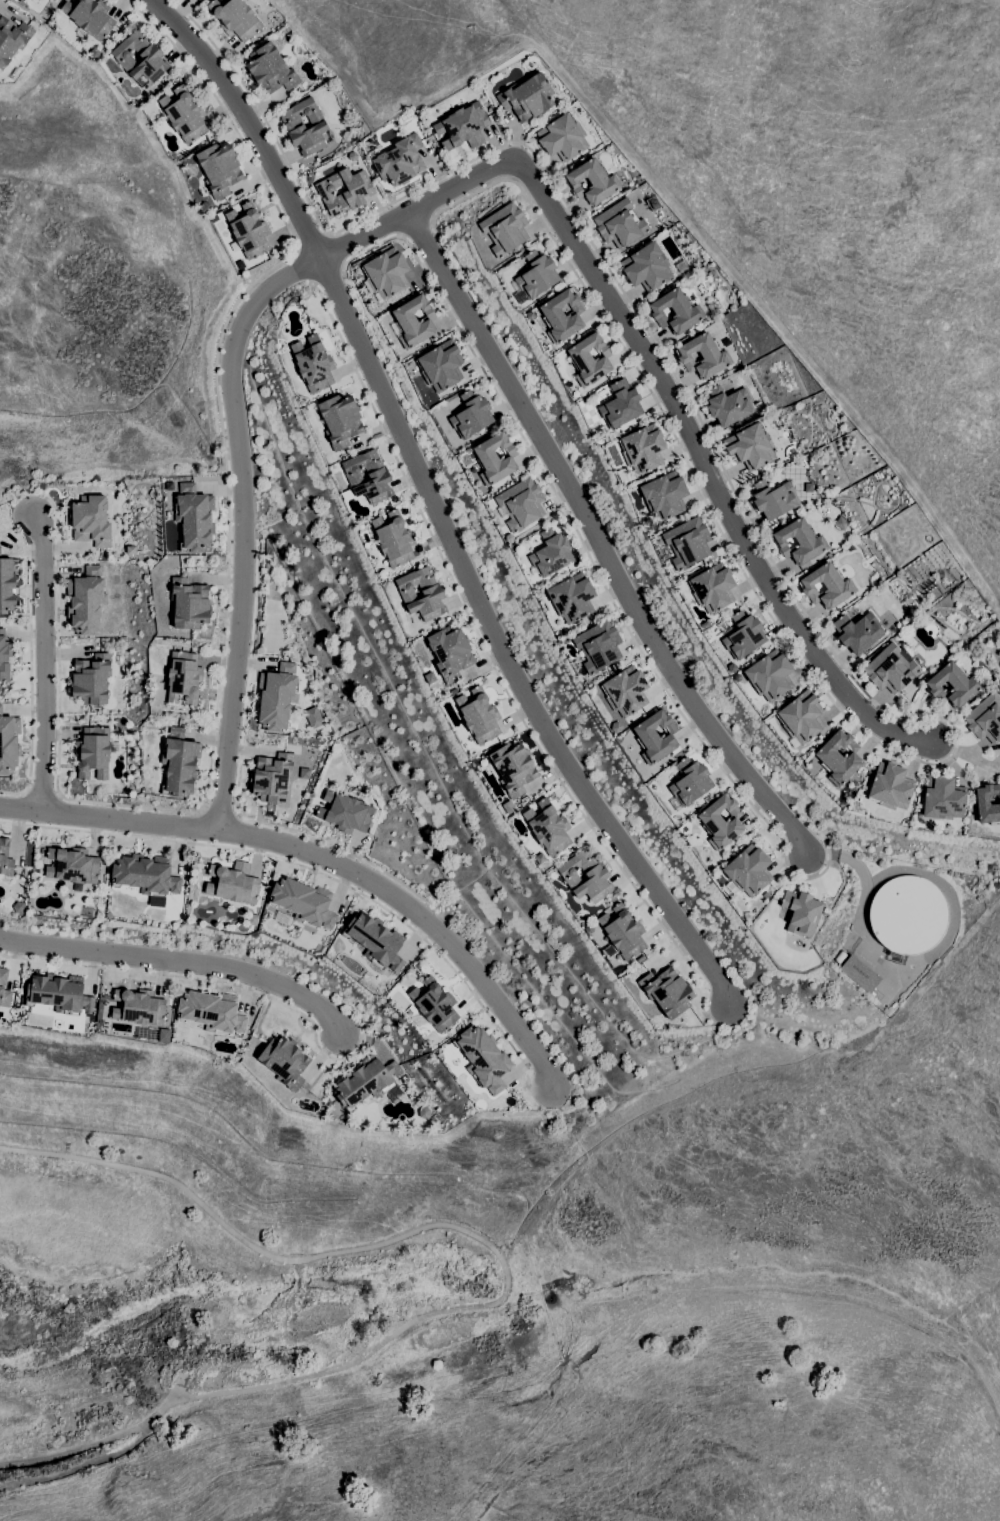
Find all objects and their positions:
building: (19, 0)
building: (90, 17)
building: (235, 18)
building: (12, 39)
building: (149, 56)
building: (270, 69)
building: (527, 97)
building: (184, 115)
road: (249, 119)
building: (463, 126)
building: (294, 127)
building: (562, 137)
building: (400, 161)
building: (219, 169)
building: (591, 181)
building: (357, 193)
building: (214, 218)
building: (620, 224)
building: (504, 229)
building: (248, 231)
road: (309, 239)
road: (337, 248)
road: (304, 266)
building: (646, 267)
building: (386, 273)
road: (328, 274)
building: (536, 275)
building: (675, 311)
building: (530, 315)
building: (561, 315)
building: (412, 322)
building: (703, 356)
building: (589, 359)
building: (313, 364)
building: (440, 366)
building: (620, 405)
building: (728, 405)
road: (233, 413)
building: (471, 415)
building: (340, 420)
building: (750, 446)
building: (642, 449)
building: (494, 459)
road: (704, 468)
building: (623, 475)
building: (379, 477)
building: (664, 495)
building: (774, 499)
building: (521, 504)
building: (194, 518)
building: (91, 521)
building: (393, 539)
road: (598, 539)
building: (798, 541)
building: (687, 543)
road: (9, 546)
building: (551, 553)
road: (590, 558)
building: (383, 574)
building: (8, 584)
building: (826, 586)
road: (226, 588)
building: (712, 588)
building: (421, 594)
building: (571, 597)
building: (86, 601)
building: (189, 604)
road: (811, 624)
building: (704, 625)
building: (857, 632)
building: (743, 636)
road: (500, 645)
building: (598, 646)
road: (483, 647)
building: (450, 653)
building: (4, 657)
road: (45, 661)
building: (890, 669)
road: (30, 673)
building: (769, 675)
building: (429, 677)
building: (183, 678)
building: (91, 680)
building: (952, 684)
building: (453, 691)
building: (625, 691)
building: (277, 697)
building: (479, 716)
building: (311, 717)
building: (801, 717)
building: (985, 718)
building: (655, 736)
building: (8, 743)
building: (93, 752)
road: (965, 753)
building: (839, 757)
building: (179, 763)
building: (513, 768)
building: (272, 778)
road: (238, 782)
building: (690, 782)
building: (890, 786)
road: (11, 791)
building: (943, 798)
building: (987, 804)
road: (202, 811)
building: (345, 812)
road: (219, 815)
road: (237, 816)
road: (109, 817)
building: (721, 821)
building: (547, 827)
building: (5, 858)
building: (539, 858)
building: (72, 866)
road: (301, 866)
building: (748, 870)
building: (145, 875)
building: (596, 877)
building: (233, 883)
building: (303, 902)
building: (801, 912)
building: (908, 915)
road: (419, 917)
building: (588, 928)
building: (623, 932)
building: (375, 941)
building: (640, 958)
road: (179, 962)
building: (859, 974)
road: (201, 979)
building: (1, 987)
building: (667, 992)
building: (59, 994)
building: (434, 1004)
building: (138, 1007)
building: (211, 1012)
road: (368, 1038)
building: (483, 1058)
building: (284, 1061)
road: (521, 1069)
building: (365, 1081)
park: (223, 1256)
road: (508, 1274)

